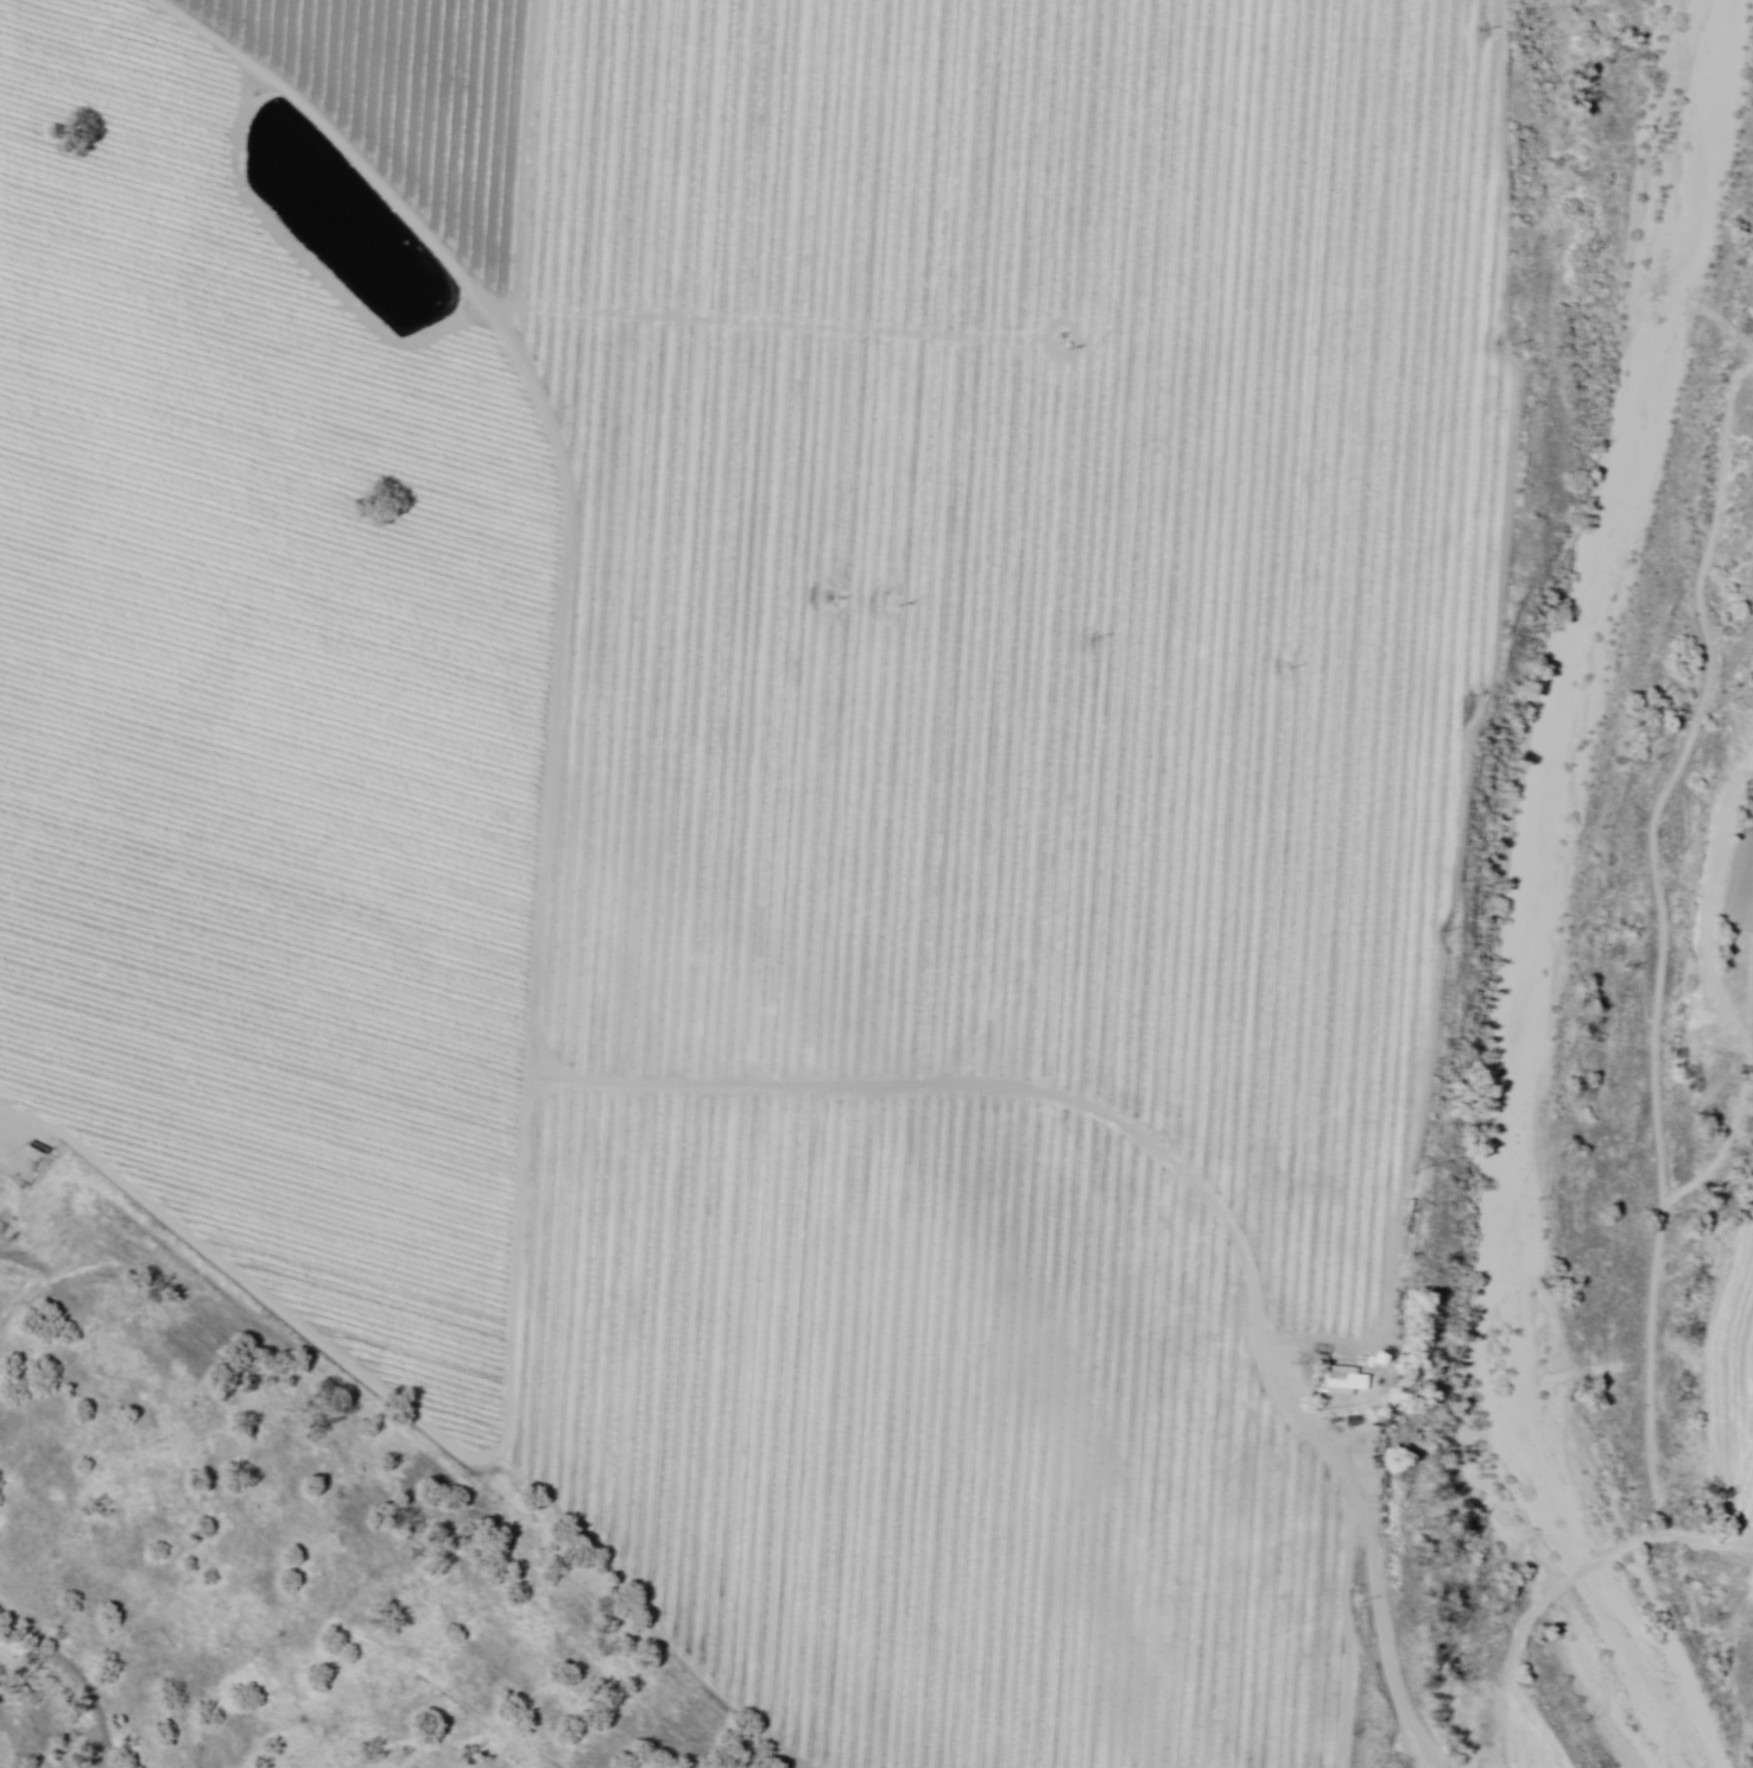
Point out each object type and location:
river: (1629, 290)
crop: (994, 523)
crop: (262, 721)
river: (1550, 1185)
building: (1325, 1324)
building: (1347, 1382)
crop: (1734, 1387)
crop: (860, 1417)

